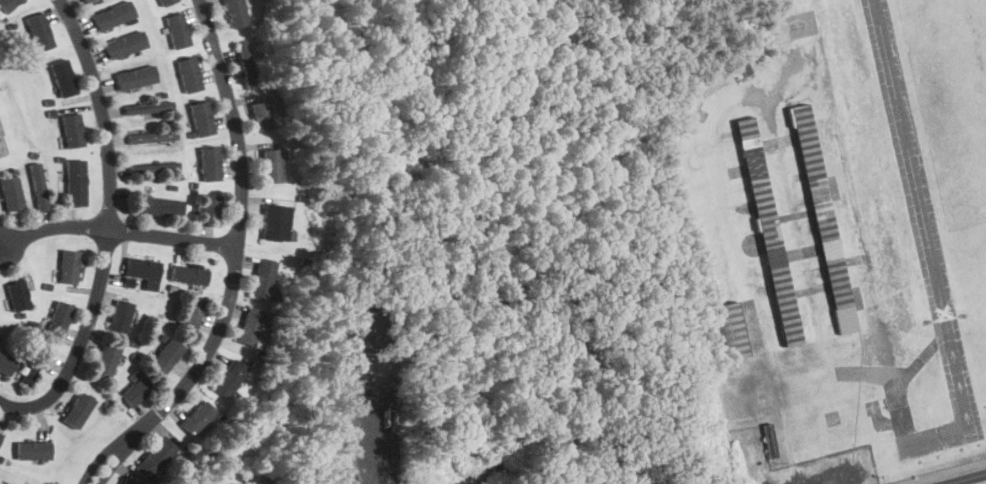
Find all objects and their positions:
building: (86, 1)
building: (165, 2)
building: (7, 5)
building: (773, 5)
building: (234, 13)
building: (112, 15)
building: (780, 29)
building: (177, 30)
building: (39, 31)
building: (123, 44)
building: (246, 64)
building: (741, 69)
building: (61, 74)
building: (188, 74)
building: (134, 77)
building: (712, 83)
building: (147, 107)
building: (688, 109)
building: (261, 114)
building: (201, 117)
building: (71, 129)
building: (151, 136)
building: (209, 163)
building: (272, 165)
building: (153, 167)
building: (75, 183)
building: (38, 187)
building: (11, 193)
building: (157, 205)
building: (210, 206)
building: (275, 222)
building: (824, 222)
road: (111, 229)
building: (768, 230)
road: (120, 231)
road: (237, 264)
building: (68, 266)
building: (142, 268)
building: (188, 274)
building: (262, 277)
building: (17, 295)
building: (191, 312)
building: (119, 315)
building: (59, 318)
building: (249, 326)
building: (730, 330)
building: (166, 356)
building: (105, 360)
building: (6, 363)
building: (25, 374)
building: (229, 378)
building: (136, 390)
building: (78, 410)
building: (197, 417)
building: (0, 432)
building: (0, 435)
building: (770, 440)
building: (32, 450)
building: (155, 457)
road: (967, 479)
building: (127, 482)

